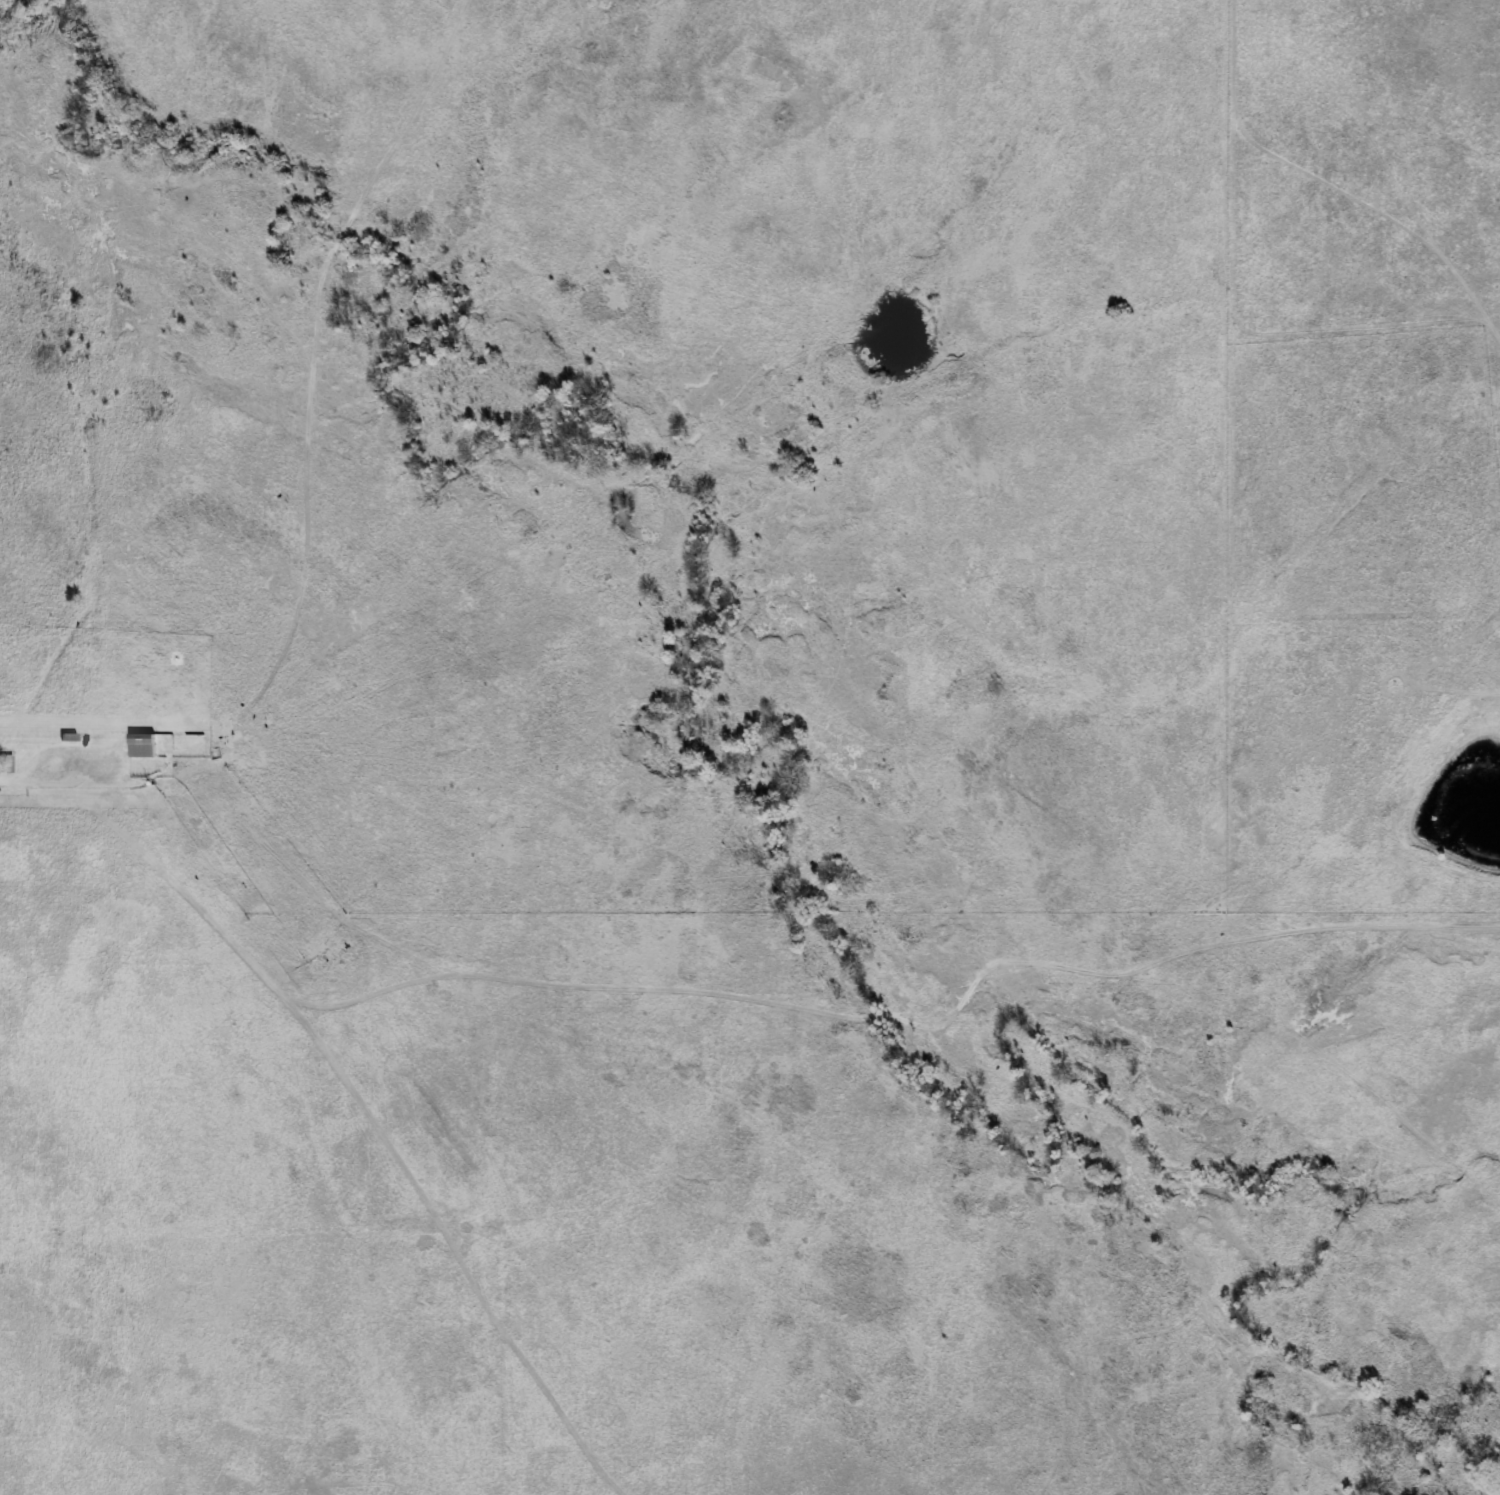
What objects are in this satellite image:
building: (139, 746)
building: (3, 764)

